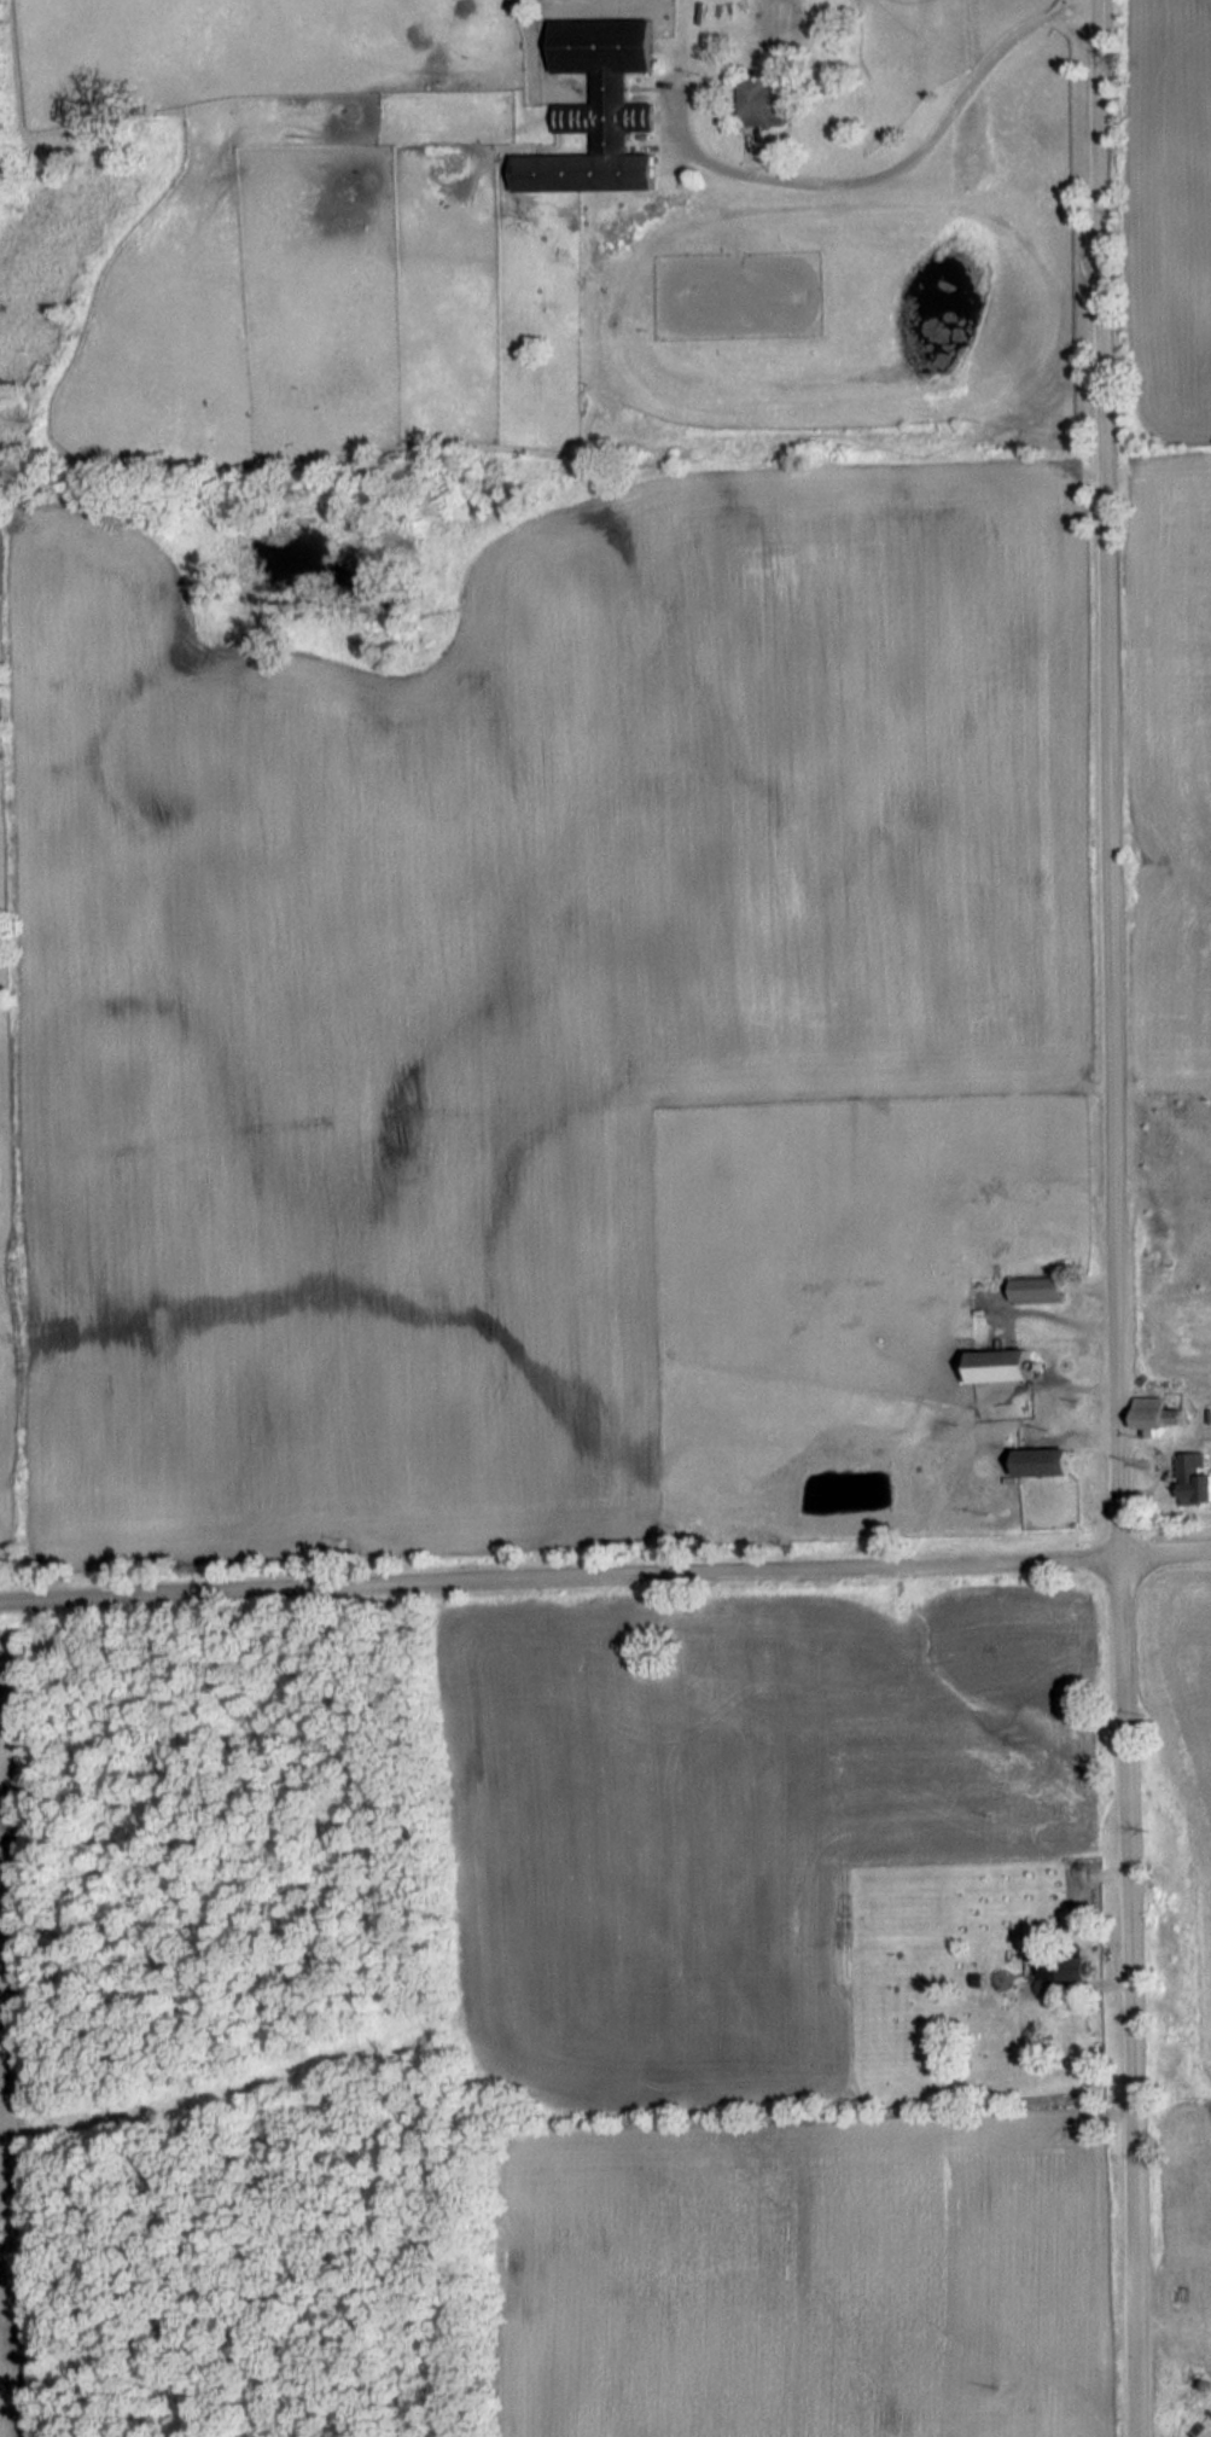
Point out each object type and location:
building: (764, 99)
building: (596, 109)
road: (752, 150)
road: (879, 173)
park: (738, 293)
road: (1118, 1218)
road: (1099, 1284)
building: (1041, 1287)
road: (1073, 1321)
building: (1013, 1365)
road: (1078, 1384)
building: (1159, 1412)
road: (1090, 1435)
building: (1049, 1460)
road: (1163, 1467)
building: (1195, 1477)
road: (1168, 1551)
road: (561, 1576)
building: (1072, 1967)
power tower: (5, 2241)

